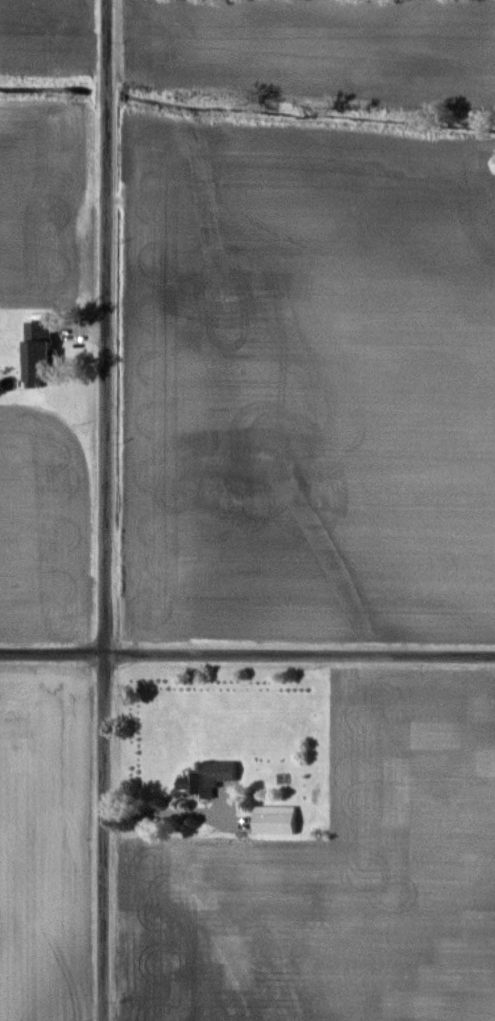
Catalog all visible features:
building: (44, 354)
road: (97, 510)
road: (47, 649)
road: (295, 651)
building: (210, 777)
road: (153, 812)
building: (279, 820)

